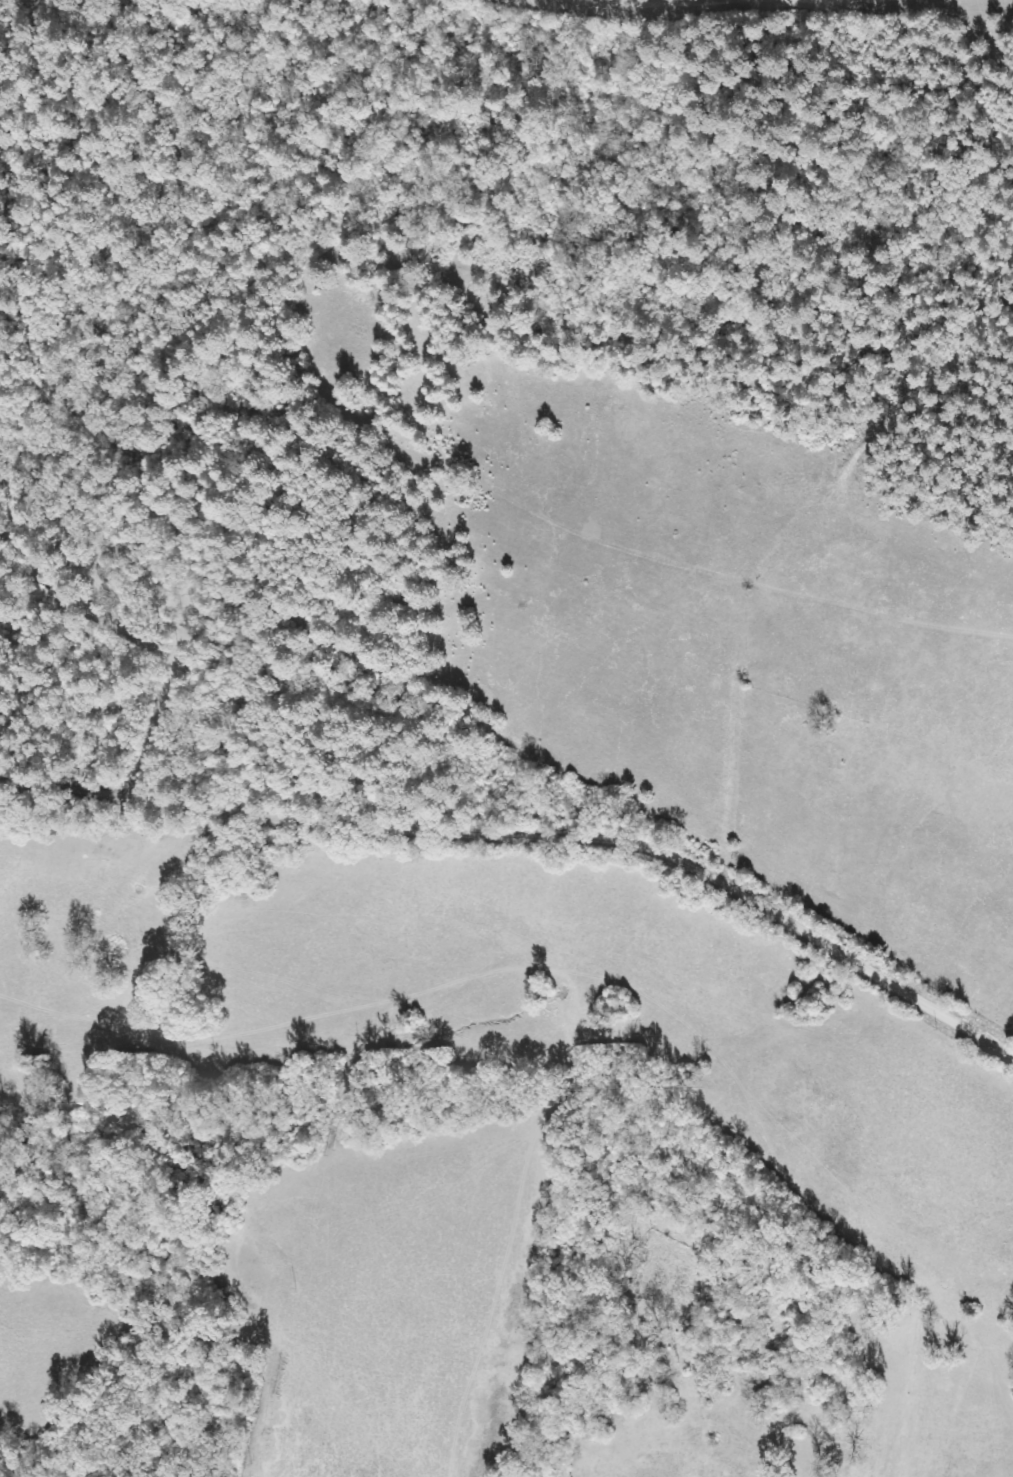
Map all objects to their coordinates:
road: (260, 665)
park: (269, 750)
road: (532, 851)

